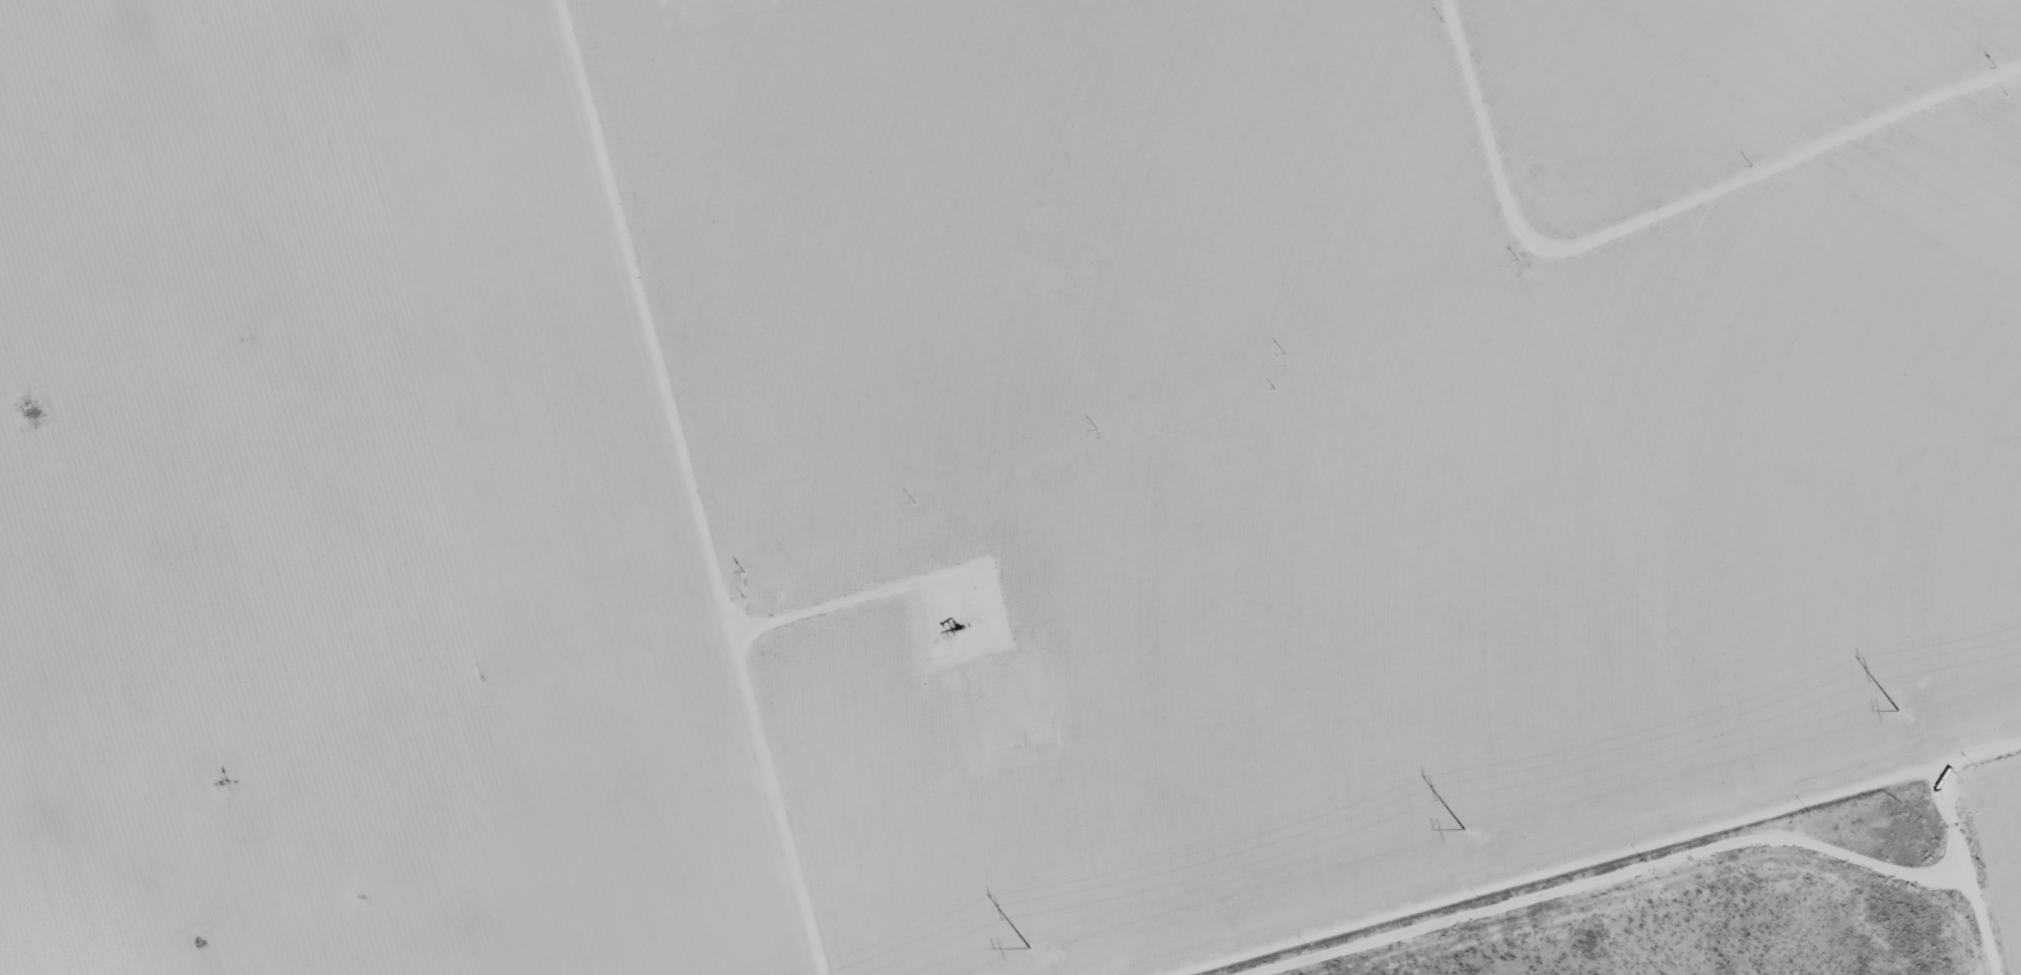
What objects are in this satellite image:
road: (690, 486)
power tower: (1898, 709)
power tower: (1464, 827)
road: (1628, 866)
power tower: (1030, 947)

